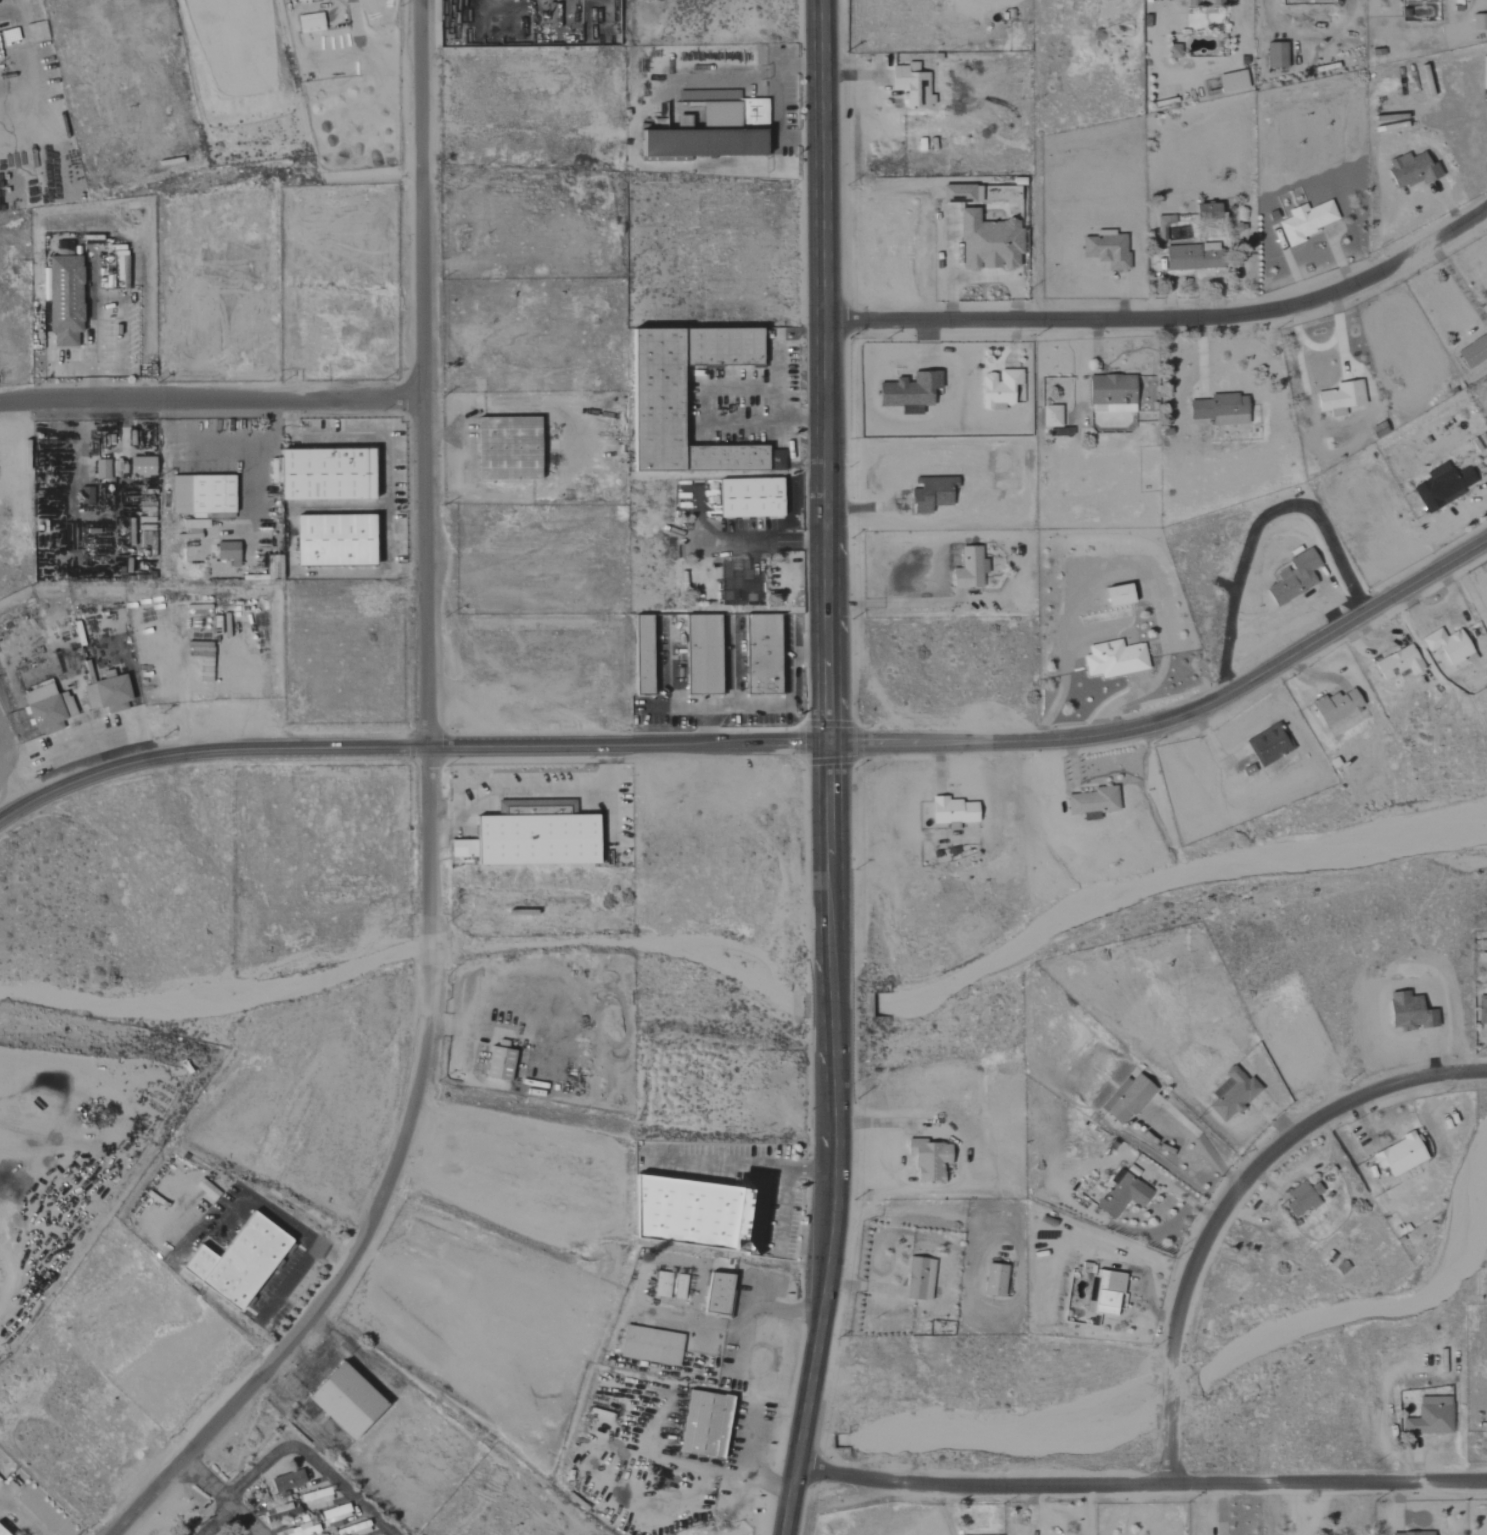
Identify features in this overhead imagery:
building: (303, 0)
building: (1203, 3)
building: (1478, 22)
building: (309, 23)
building: (1173, 52)
building: (1275, 56)
building: (1231, 82)
building: (909, 86)
building: (710, 129)
building: (1410, 171)
building: (955, 194)
building: (1209, 211)
building: (1164, 220)
building: (1306, 221)
building: (88, 240)
building: (986, 243)
building: (1105, 251)
building: (1191, 257)
building: (120, 269)
building: (1486, 277)
building: (61, 296)
road: (1168, 319)
building: (1473, 352)
building: (997, 389)
building: (908, 392)
building: (1110, 394)
building: (1339, 398)
road: (210, 400)
building: (652, 407)
building: (1219, 410)
road: (706, 417)
building: (1050, 417)
building: (505, 450)
road: (385, 457)
building: (139, 467)
road: (457, 469)
building: (100, 470)
building: (323, 475)
building: (1441, 487)
building: (930, 495)
building: (84, 496)
building: (201, 497)
building: (747, 499)
road: (1257, 524)
building: (192, 527)
building: (331, 541)
road: (779, 541)
building: (226, 553)
building: (968, 570)
building: (1292, 579)
road: (1470, 593)
building: (1116, 597)
road: (1346, 602)
road: (1280, 613)
road: (1334, 614)
building: (1447, 647)
building: (640, 656)
building: (700, 656)
building: (759, 656)
building: (1113, 660)
building: (1397, 664)
building: (106, 695)
road: (770, 706)
building: (1334, 708)
building: (45, 709)
road: (762, 745)
building: (1267, 746)
road: (828, 769)
building: (1091, 803)
building: (951, 812)
road: (426, 818)
building: (535, 837)
building: (461, 849)
building: (1482, 1010)
building: (497, 1063)
building: (1231, 1094)
building: (1127, 1100)
building: (1397, 1155)
building: (926, 1160)
road: (724, 1164)
road: (785, 1190)
building: (1120, 1195)
road: (1230, 1199)
building: (1301, 1199)
building: (701, 1213)
building: (235, 1262)
building: (917, 1279)
building: (992, 1281)
building: (660, 1284)
road: (749, 1292)
building: (714, 1294)
building: (1107, 1294)
road: (749, 1308)
building: (649, 1346)
building: (341, 1401)
building: (1429, 1417)
building: (702, 1425)
road: (310, 1460)
road: (745, 1464)
building: (286, 1481)
road: (1141, 1483)
road: (223, 1496)
building: (315, 1497)
road: (1136, 1509)
building: (335, 1513)
road: (21, 1514)
building: (278, 1515)
road: (218, 1520)
building: (302, 1530)
building: (1411, 1533)
building: (0, 1534)

